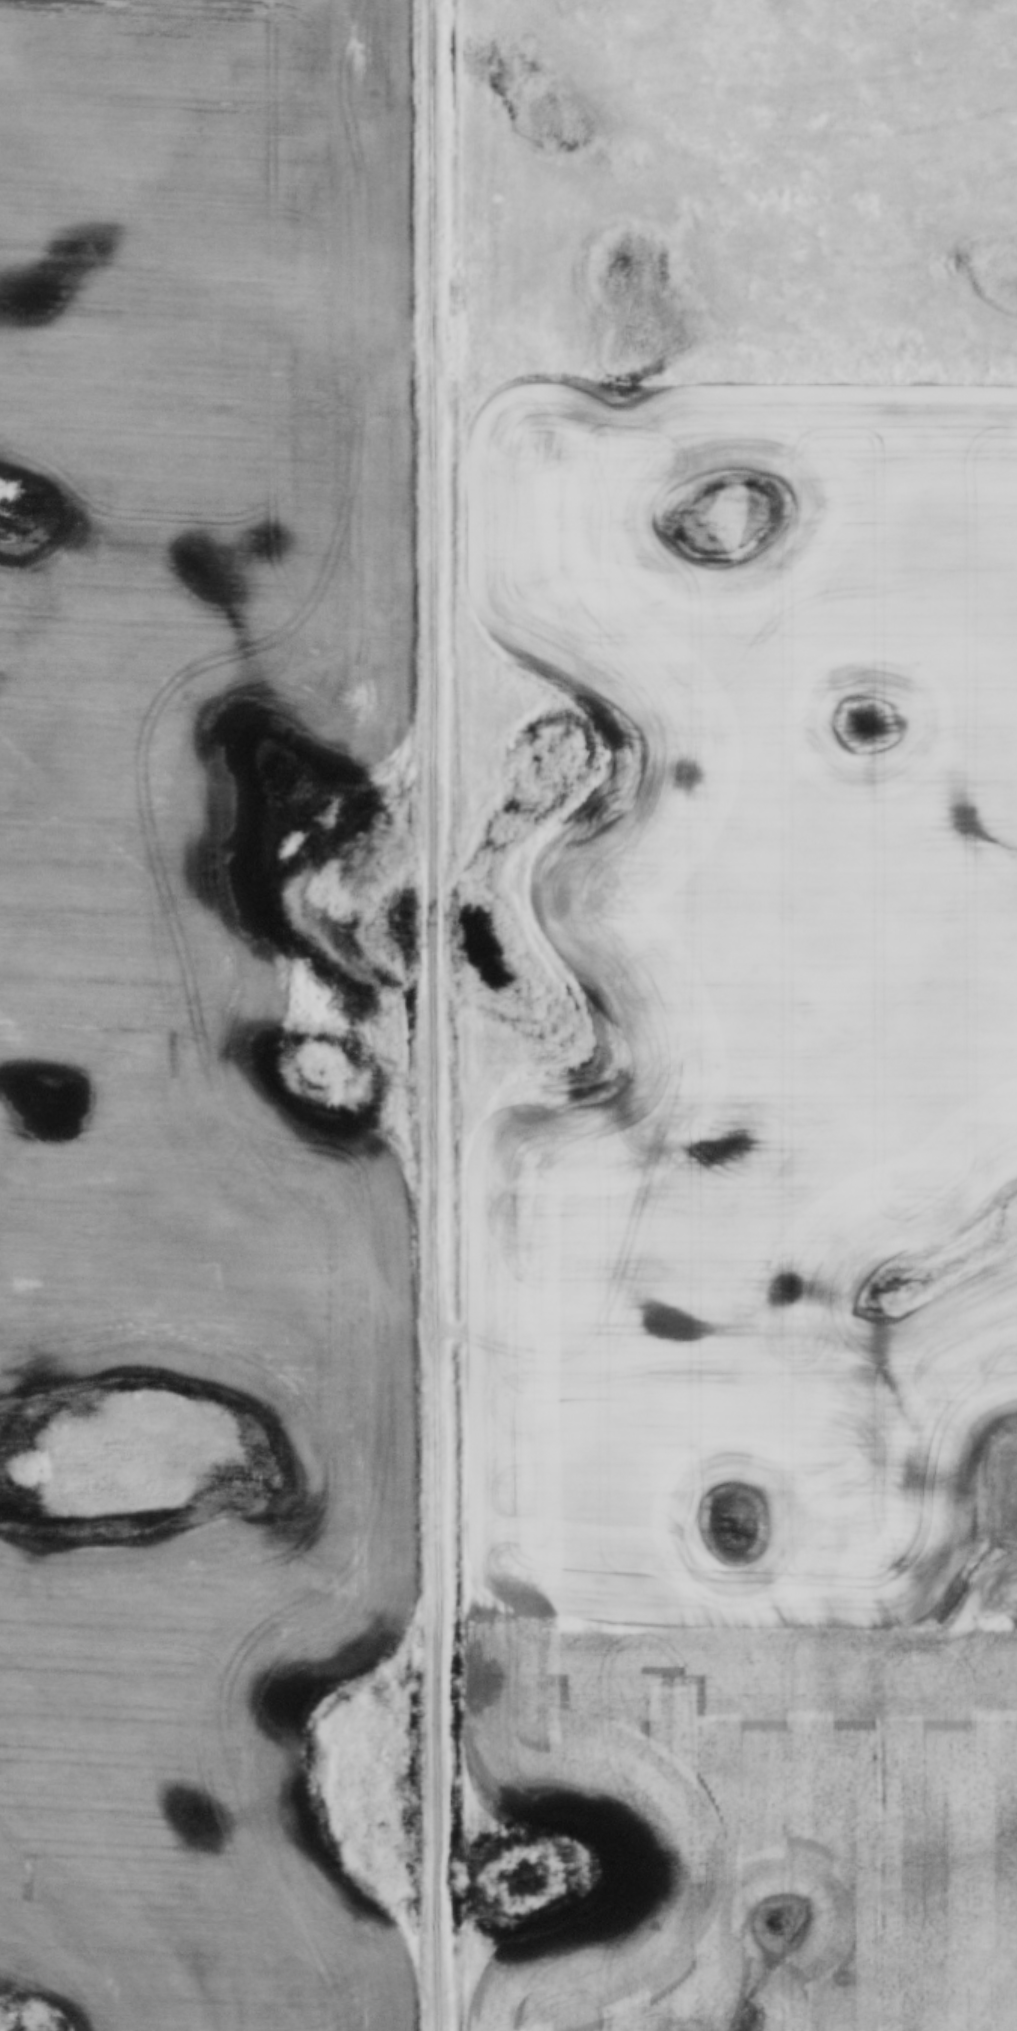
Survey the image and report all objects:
road: (429, 1015)

